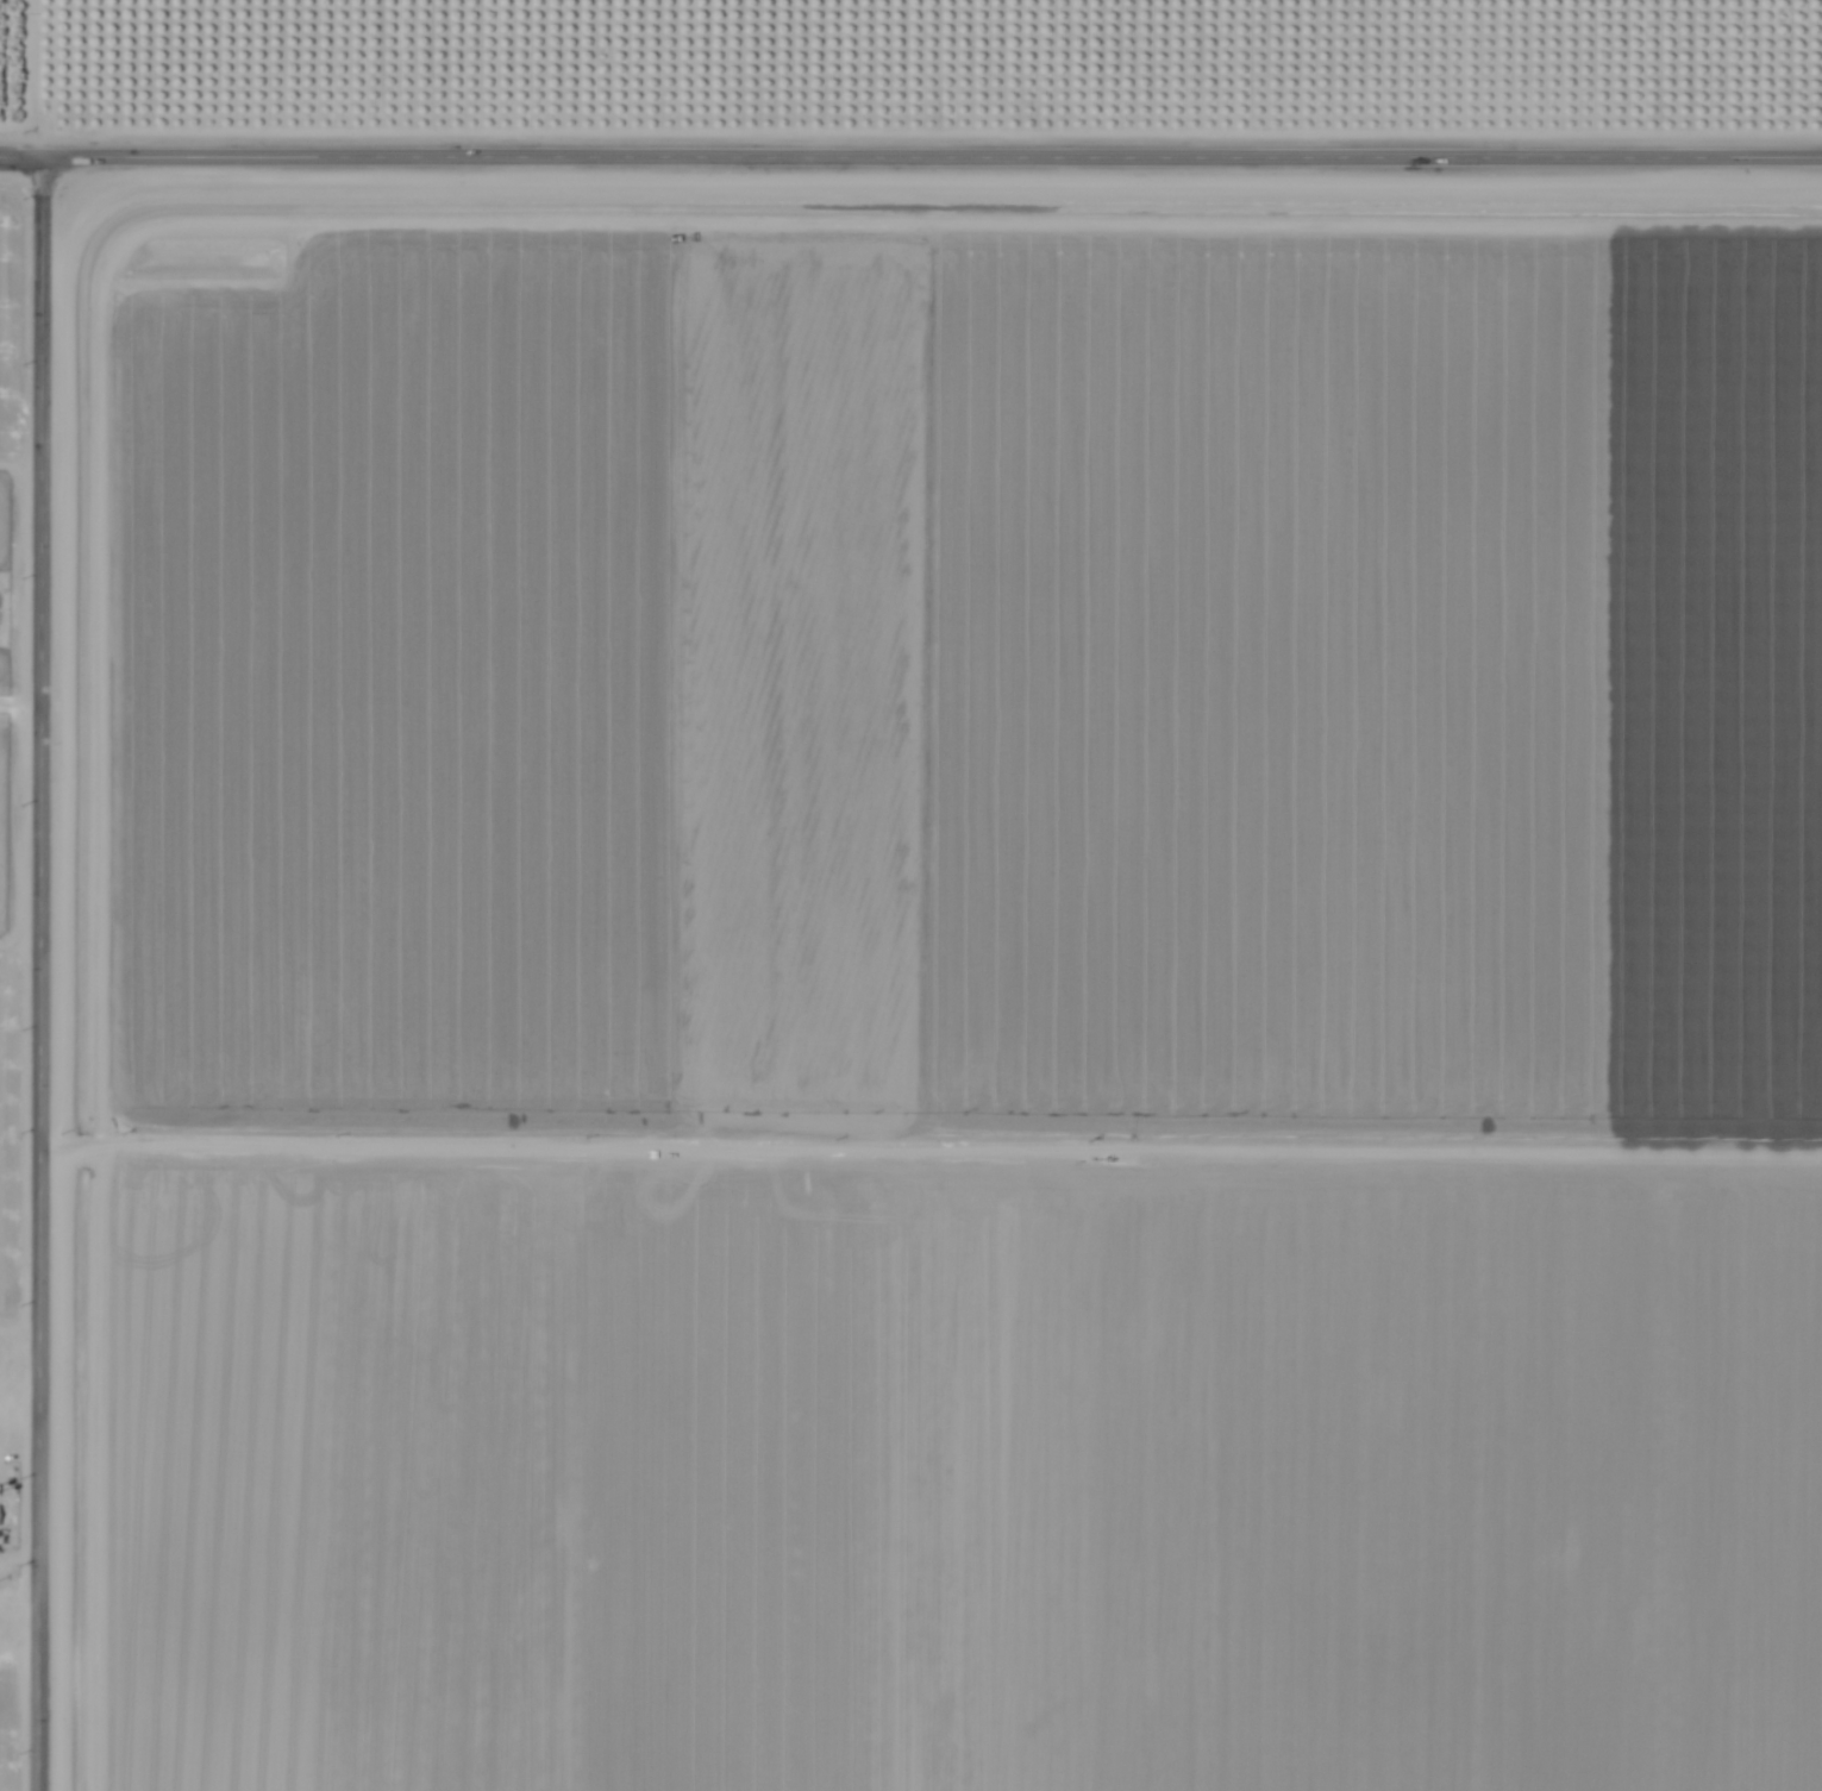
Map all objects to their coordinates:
road: (44, 79)
road: (910, 157)
road: (42, 973)
crop: (944, 989)
road: (20, 1417)
road: (20, 1597)
crop: (11, 1716)

